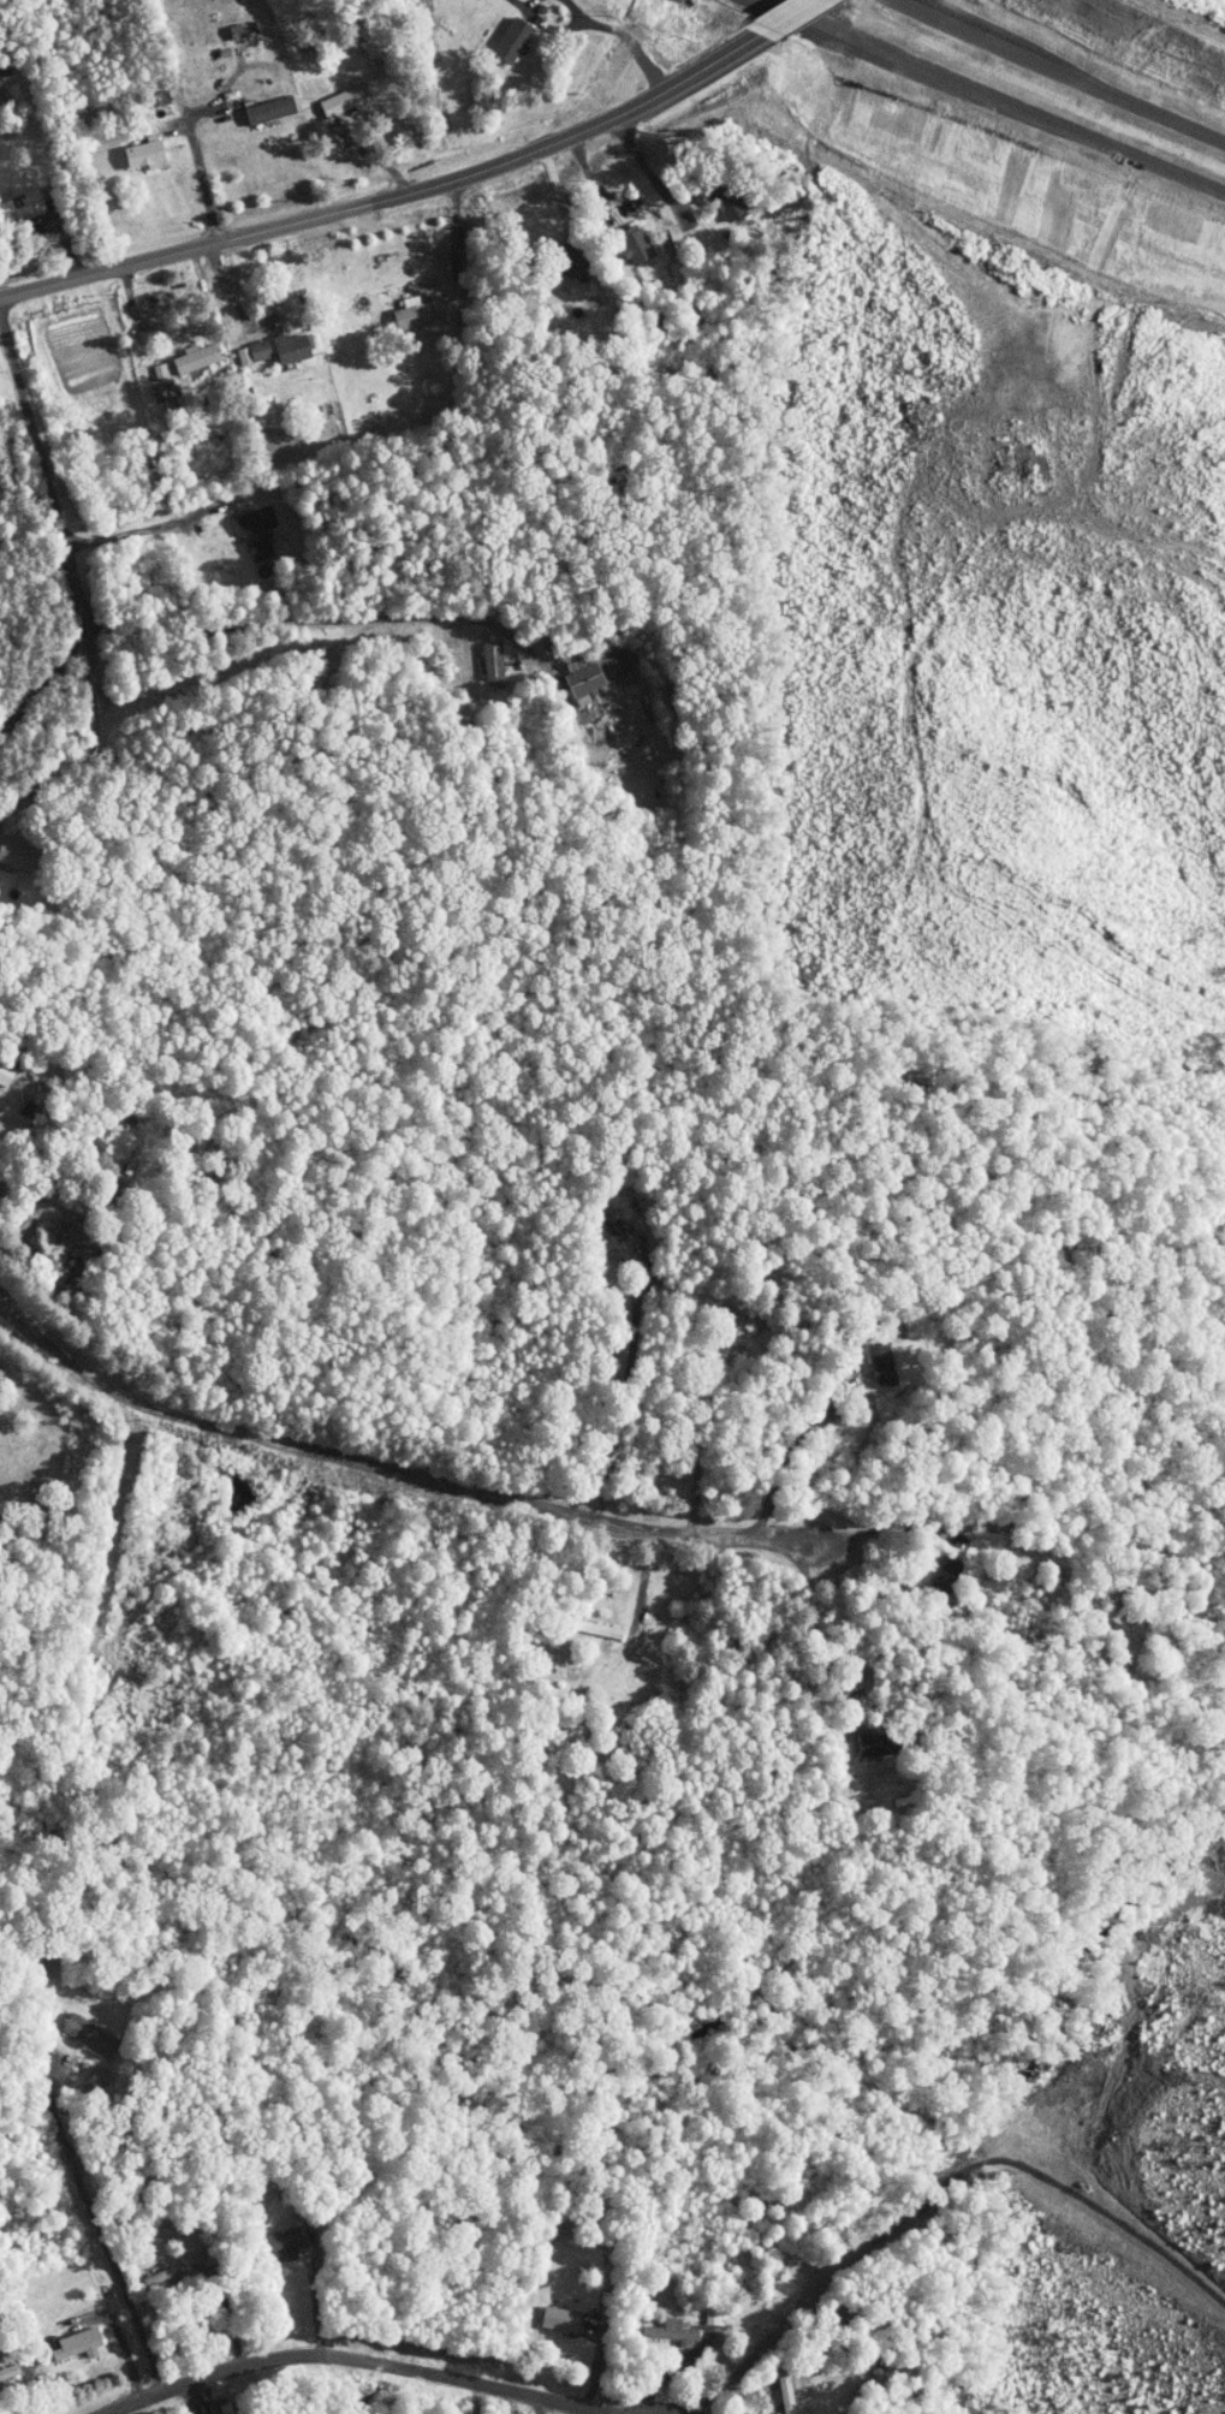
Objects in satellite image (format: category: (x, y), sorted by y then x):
road: (923, 12)
road: (929, 12)
road: (793, 14)
road: (858, 34)
building: (517, 38)
road: (635, 40)
road: (1088, 82)
building: (350, 100)
building: (273, 108)
road: (1078, 129)
building: (148, 153)
road: (197, 165)
road: (649, 170)
road: (397, 195)
building: (731, 200)
building: (25, 203)
road: (460, 240)
building: (642, 244)
building: (421, 314)
building: (295, 346)
building: (257, 351)
building: (198, 357)
road: (53, 503)
road: (144, 530)
building: (258, 531)
building: (495, 661)
building: (599, 676)
road: (44, 683)
road: (60, 768)
building: (12, 849)
building: (6, 1072)
building: (884, 1364)
road: (790, 1456)
road: (391, 1473)
road: (891, 1527)
building: (949, 1570)
road: (643, 1581)
building: (881, 1743)
building: (90, 2033)
road: (97, 2223)
building: (286, 2242)
building: (167, 2273)
road: (316, 2294)
road: (226, 2309)
building: (714, 2315)
building: (564, 2318)
building: (674, 2330)
building: (82, 2343)
road: (356, 2359)
building: (10, 2372)
road: (666, 2376)
building: (790, 2396)
road: (475, 2398)
road: (540, 2406)

